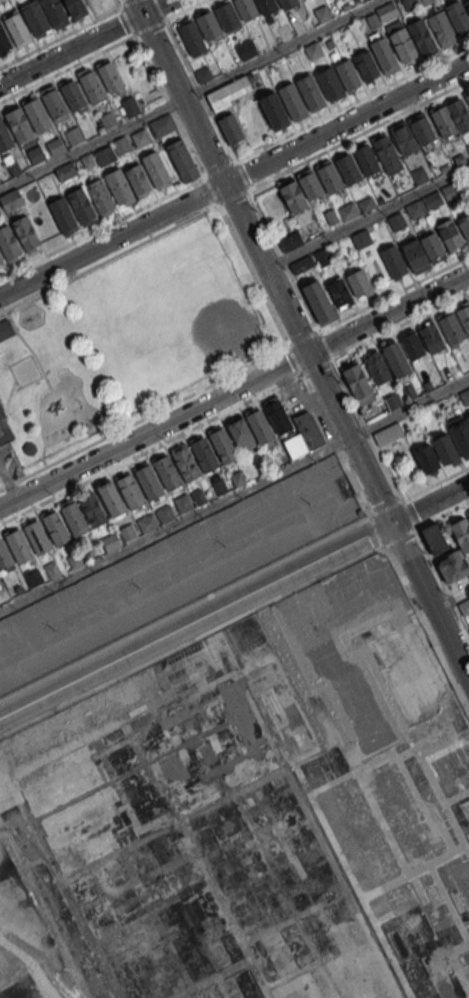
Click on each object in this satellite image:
building: (0, 0)
building: (423, 2)
road: (117, 3)
building: (287, 3)
building: (467, 4)
building: (265, 6)
building: (76, 8)
building: (246, 8)
building: (386, 11)
building: (54, 13)
building: (457, 16)
road: (168, 17)
building: (226, 17)
building: (35, 18)
building: (373, 20)
road: (125, 21)
building: (208, 26)
building: (17, 29)
building: (441, 29)
road: (66, 33)
building: (420, 36)
building: (191, 38)
building: (4, 39)
road: (85, 42)
building: (402, 44)
road: (280, 49)
building: (246, 50)
building: (313, 50)
building: (384, 55)
building: (366, 65)
road: (66, 68)
building: (203, 74)
building: (347, 74)
building: (111, 78)
building: (329, 83)
building: (92, 87)
road: (177, 92)
building: (310, 92)
building: (228, 93)
building: (73, 94)
building: (467, 98)
building: (292, 101)
building: (55, 104)
building: (130, 106)
road: (336, 109)
building: (273, 110)
building: (458, 114)
building: (37, 115)
building: (107, 119)
road: (175, 119)
building: (442, 121)
road: (345, 123)
building: (19, 124)
building: (161, 125)
building: (230, 128)
building: (420, 128)
road: (358, 133)
building: (73, 134)
building: (5, 136)
building: (140, 138)
building: (403, 138)
road: (89, 142)
building: (55, 145)
building: (121, 145)
building: (467, 148)
building: (384, 149)
building: (34, 154)
building: (105, 155)
building: (366, 159)
building: (87, 160)
building: (182, 160)
building: (13, 166)
building: (156, 168)
building: (347, 168)
building: (66, 170)
building: (419, 175)
building: (328, 176)
building: (137, 179)
building: (308, 183)
building: (119, 186)
building: (453, 191)
building: (100, 196)
road: (232, 196)
building: (292, 196)
building: (11, 200)
building: (81, 204)
building: (366, 204)
building: (419, 210)
building: (348, 211)
building: (62, 213)
road: (367, 217)
building: (396, 221)
road: (102, 226)
building: (464, 226)
building: (26, 234)
building: (449, 234)
building: (361, 238)
road: (111, 240)
building: (290, 241)
building: (8, 243)
building: (432, 245)
road: (279, 252)
building: (414, 253)
building: (323, 257)
road: (109, 258)
building: (1, 260)
building: (393, 261)
building: (302, 264)
road: (265, 269)
road: (253, 274)
building: (358, 282)
building: (338, 291)
road: (393, 292)
building: (318, 302)
road: (388, 314)
building: (463, 317)
park: (224, 328)
building: (451, 328)
building: (5, 329)
road: (384, 331)
road: (303, 337)
building: (431, 337)
park: (126, 341)
building: (411, 345)
road: (28, 346)
building: (395, 358)
road: (294, 359)
building: (376, 367)
fountain: (25, 371)
building: (358, 382)
road: (278, 385)
building: (409, 392)
building: (465, 396)
building: (393, 400)
road: (408, 408)
building: (2, 410)
building: (276, 414)
road: (143, 417)
building: (467, 417)
building: (259, 426)
road: (153, 430)
building: (241, 433)
building: (387, 433)
building: (460, 433)
building: (304, 435)
road: (348, 438)
road: (335, 443)
building: (222, 445)
building: (444, 448)
building: (204, 453)
road: (41, 454)
building: (426, 458)
road: (128, 459)
building: (185, 462)
building: (168, 472)
road: (4, 476)
building: (237, 477)
building: (147, 481)
road: (435, 481)
building: (218, 486)
building: (129, 491)
road: (12, 492)
building: (198, 495)
building: (110, 497)
building: (182, 503)
road: (429, 504)
building: (92, 509)
building: (164, 513)
road: (442, 513)
road: (409, 515)
building: (468, 515)
building: (74, 519)
building: (147, 522)
road: (174, 523)
building: (56, 527)
building: (127, 531)
road: (377, 531)
building: (461, 532)
building: (37, 537)
building: (433, 537)
road: (400, 538)
building: (110, 542)
building: (19, 545)
building: (4, 556)
building: (74, 559)
building: (452, 565)
building: (51, 569)
building: (34, 576)
road: (442, 579)
building: (18, 588)
road: (200, 598)
road: (450, 599)
road: (430, 603)
building: (464, 606)
road: (195, 621)
road: (424, 623)
road: (184, 643)
building: (272, 924)

